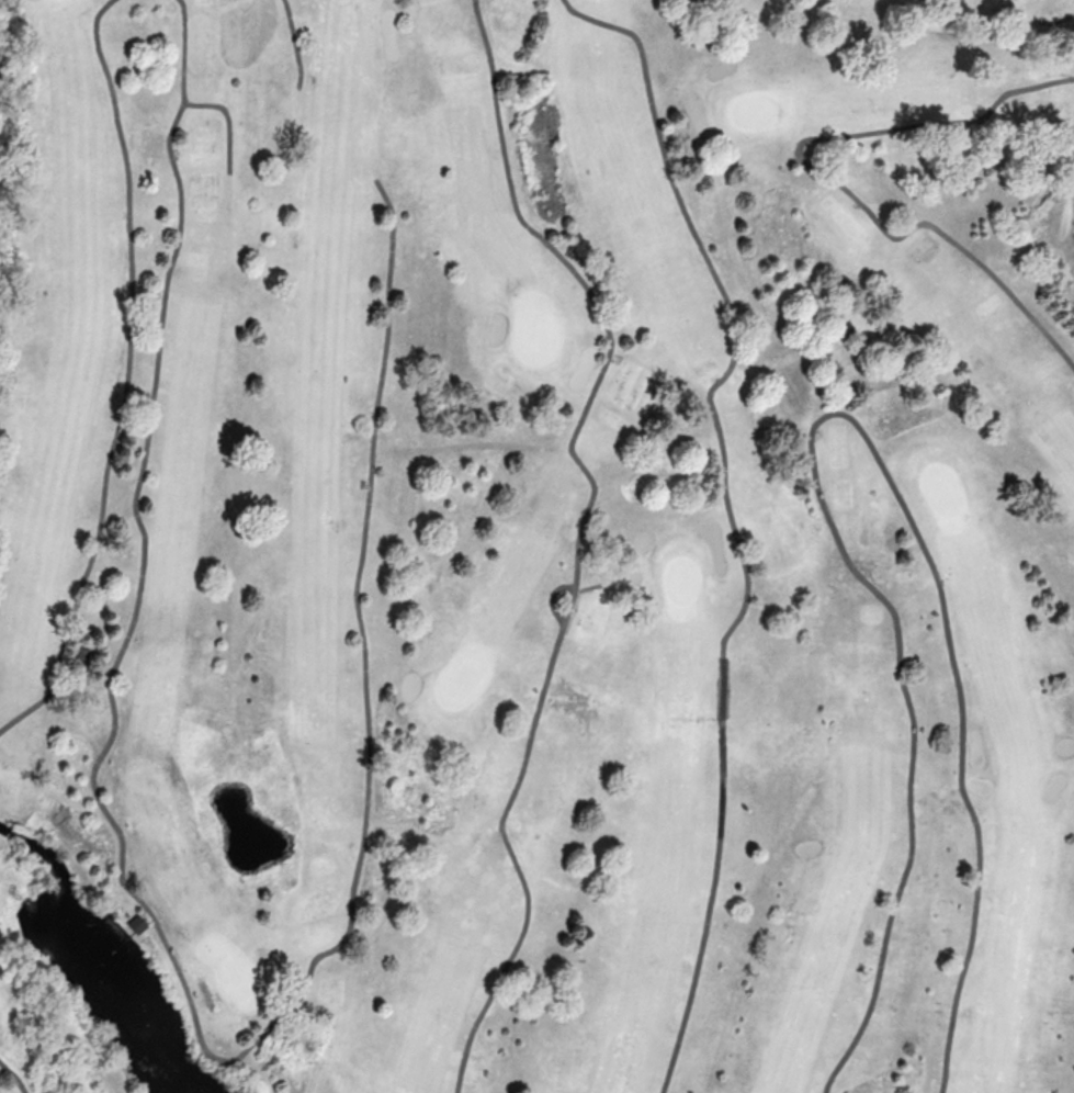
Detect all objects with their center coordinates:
road: (1044, 22)
road: (294, 45)
road: (228, 121)
road: (827, 178)
road: (126, 376)
road: (827, 415)
road: (731, 516)
road: (579, 536)
park: (536, 546)
road: (552, 598)
building: (138, 926)
river: (94, 954)
road: (183, 987)
road: (14, 1077)

